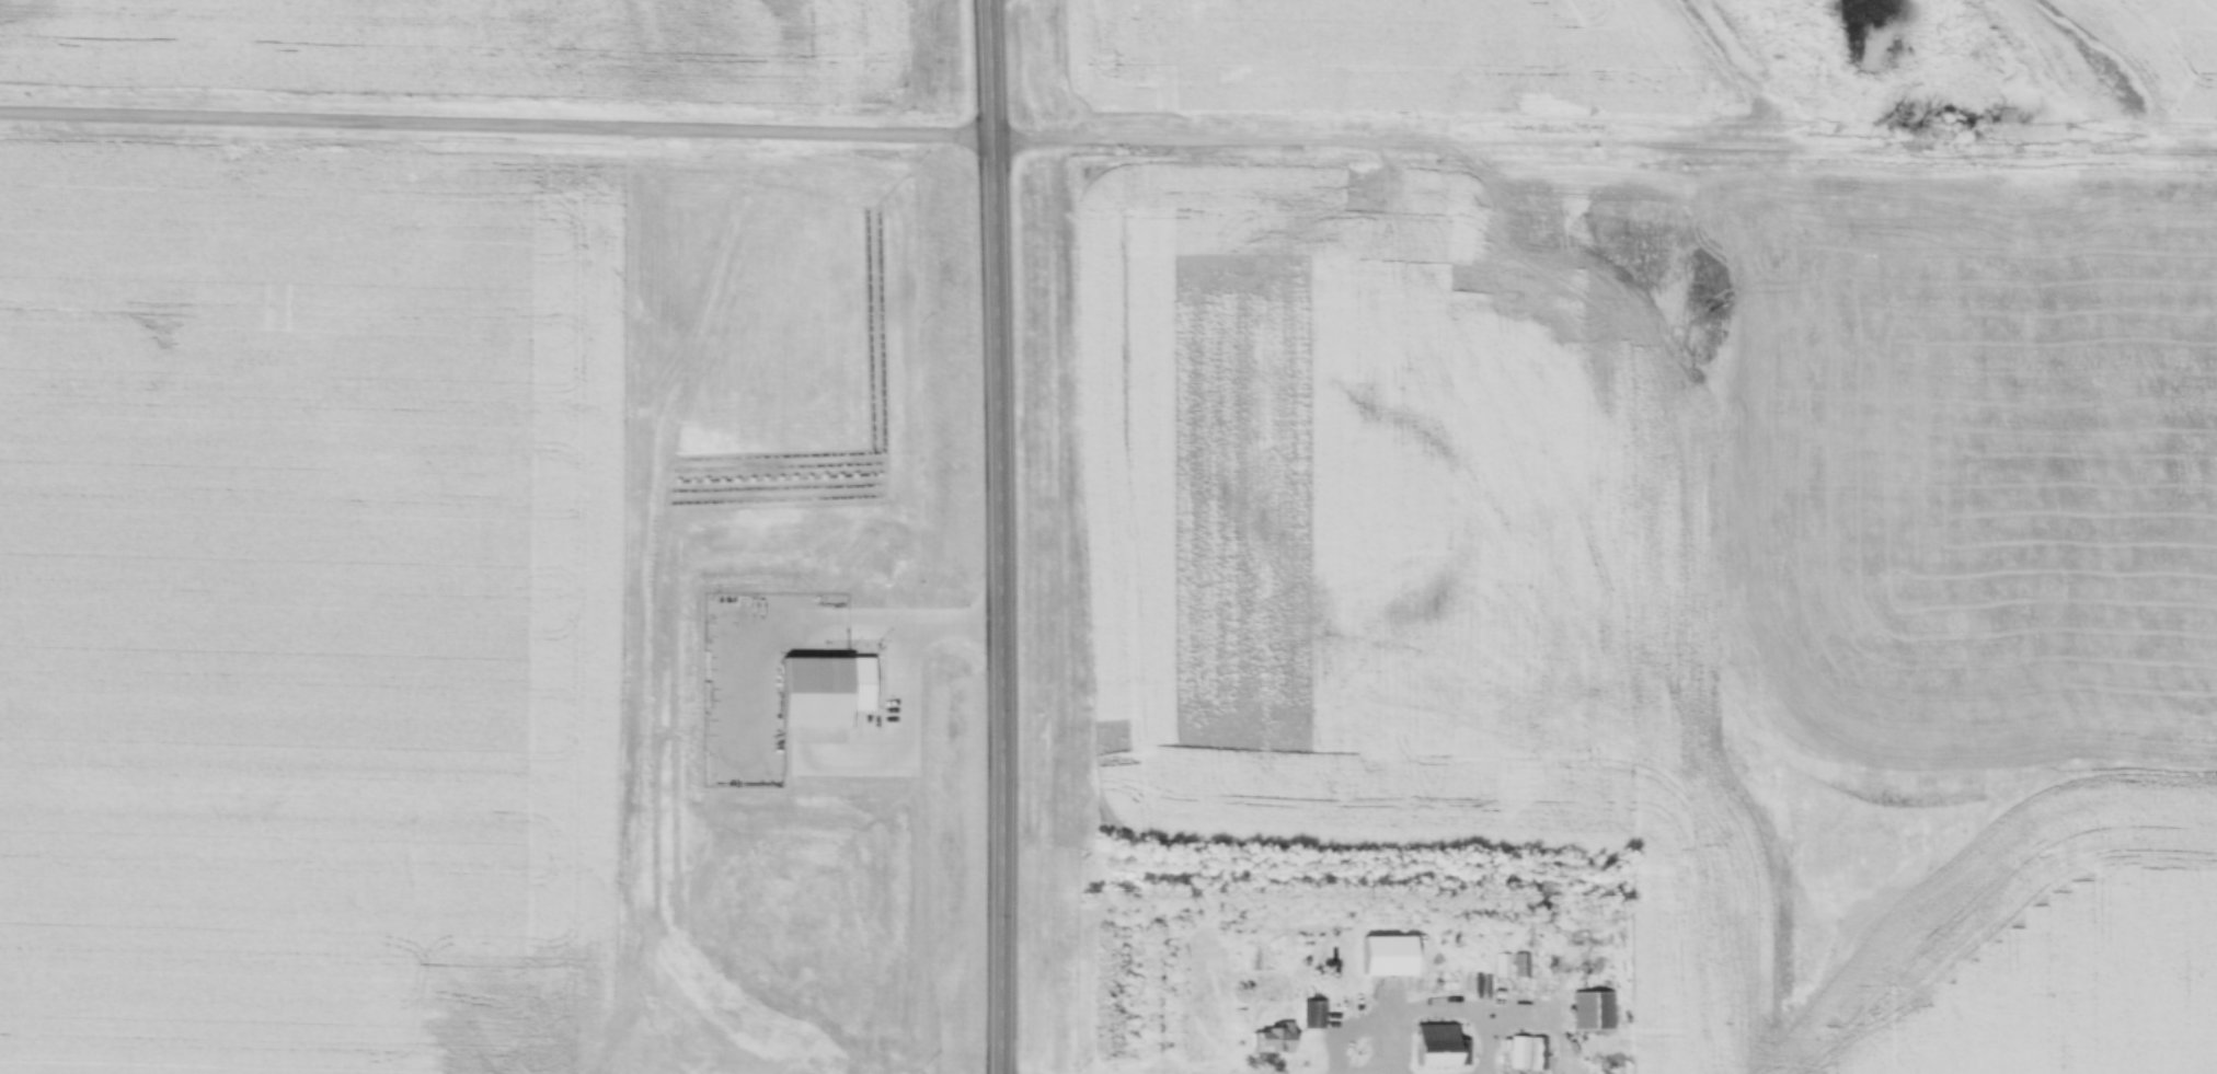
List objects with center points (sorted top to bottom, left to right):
road: (497, 119)
road: (1606, 139)
road: (993, 536)
building: (1593, 1008)
road: (1439, 1009)
building: (1310, 1015)
building: (1272, 1039)
building: (1438, 1047)
building: (1527, 1054)

